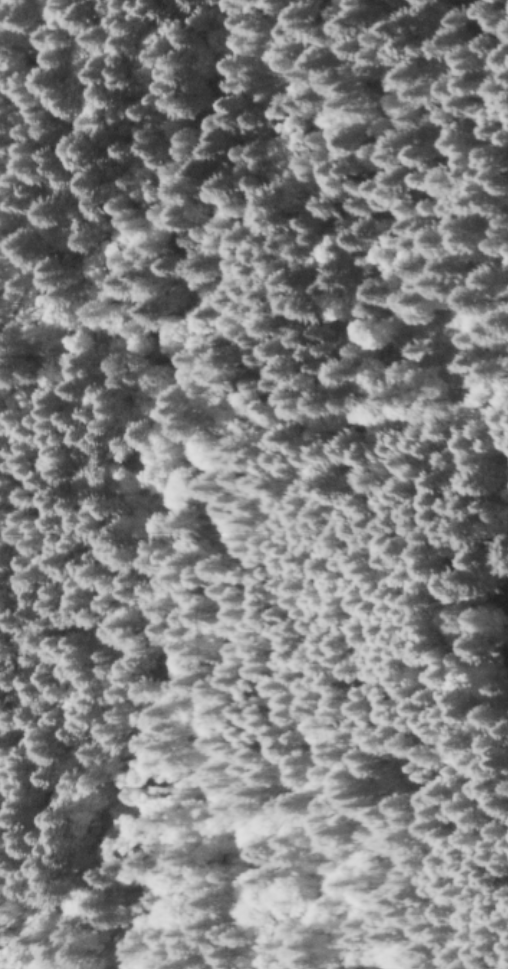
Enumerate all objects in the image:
road: (26, 40)
road: (19, 69)
road: (76, 227)
road: (330, 413)
road: (322, 661)
road: (393, 713)

